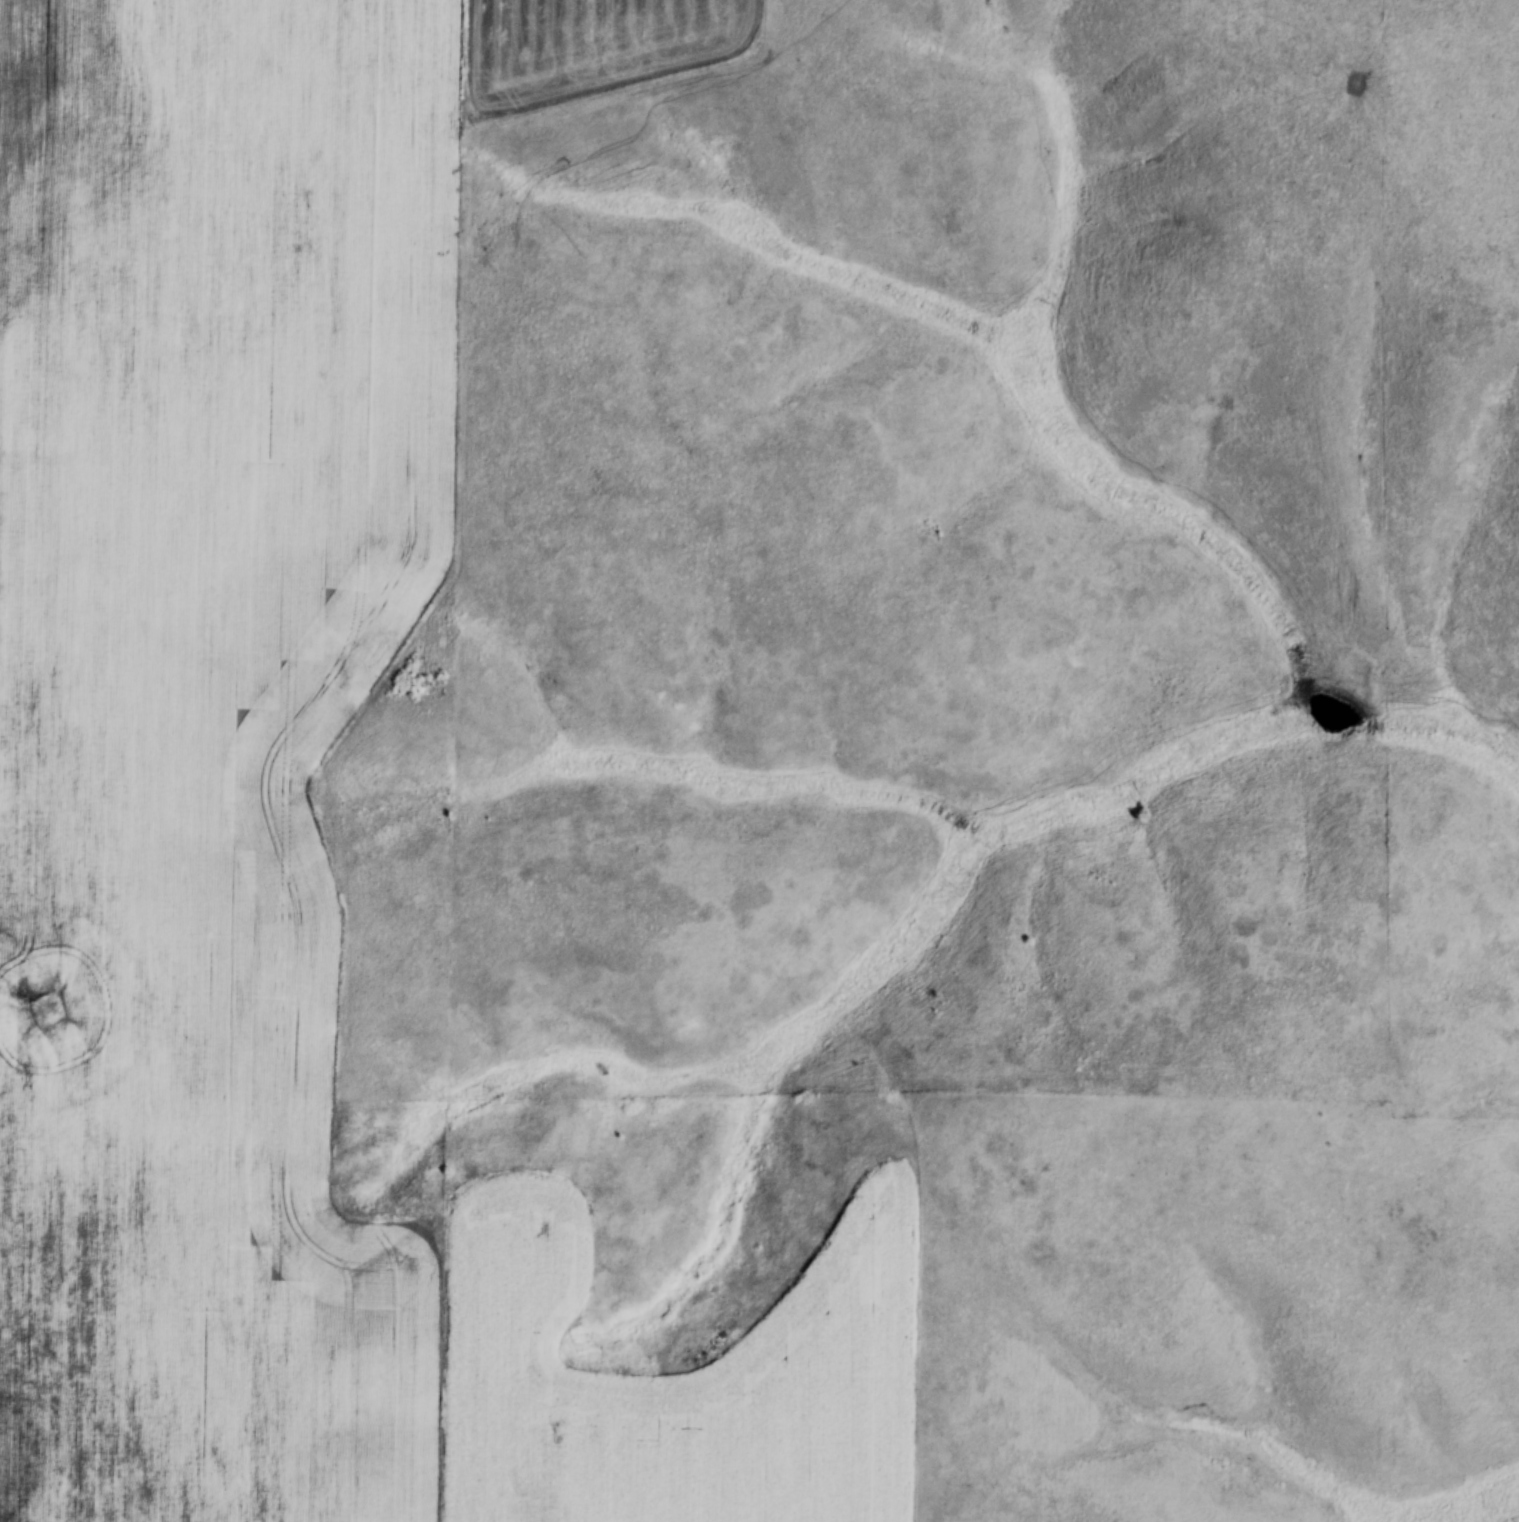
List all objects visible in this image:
power tower: (49, 1014)

